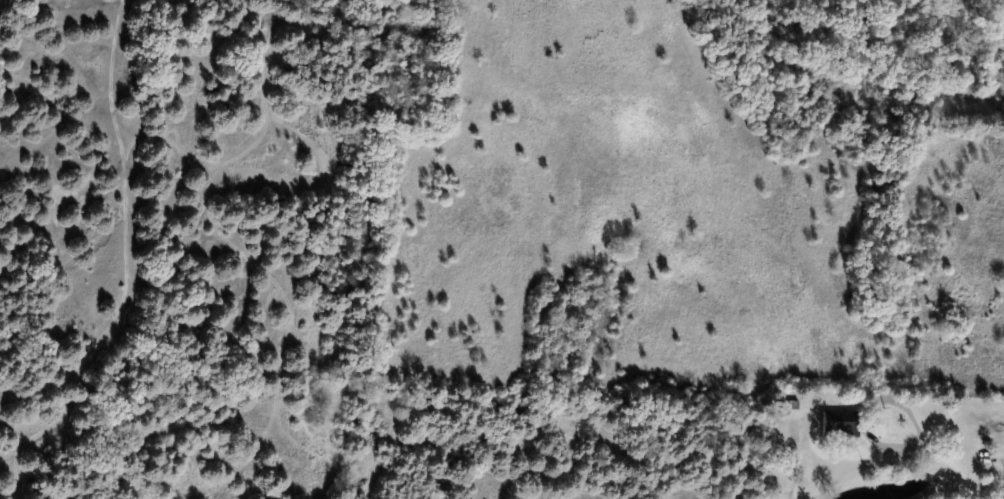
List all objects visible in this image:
building: (840, 425)
road: (933, 449)

